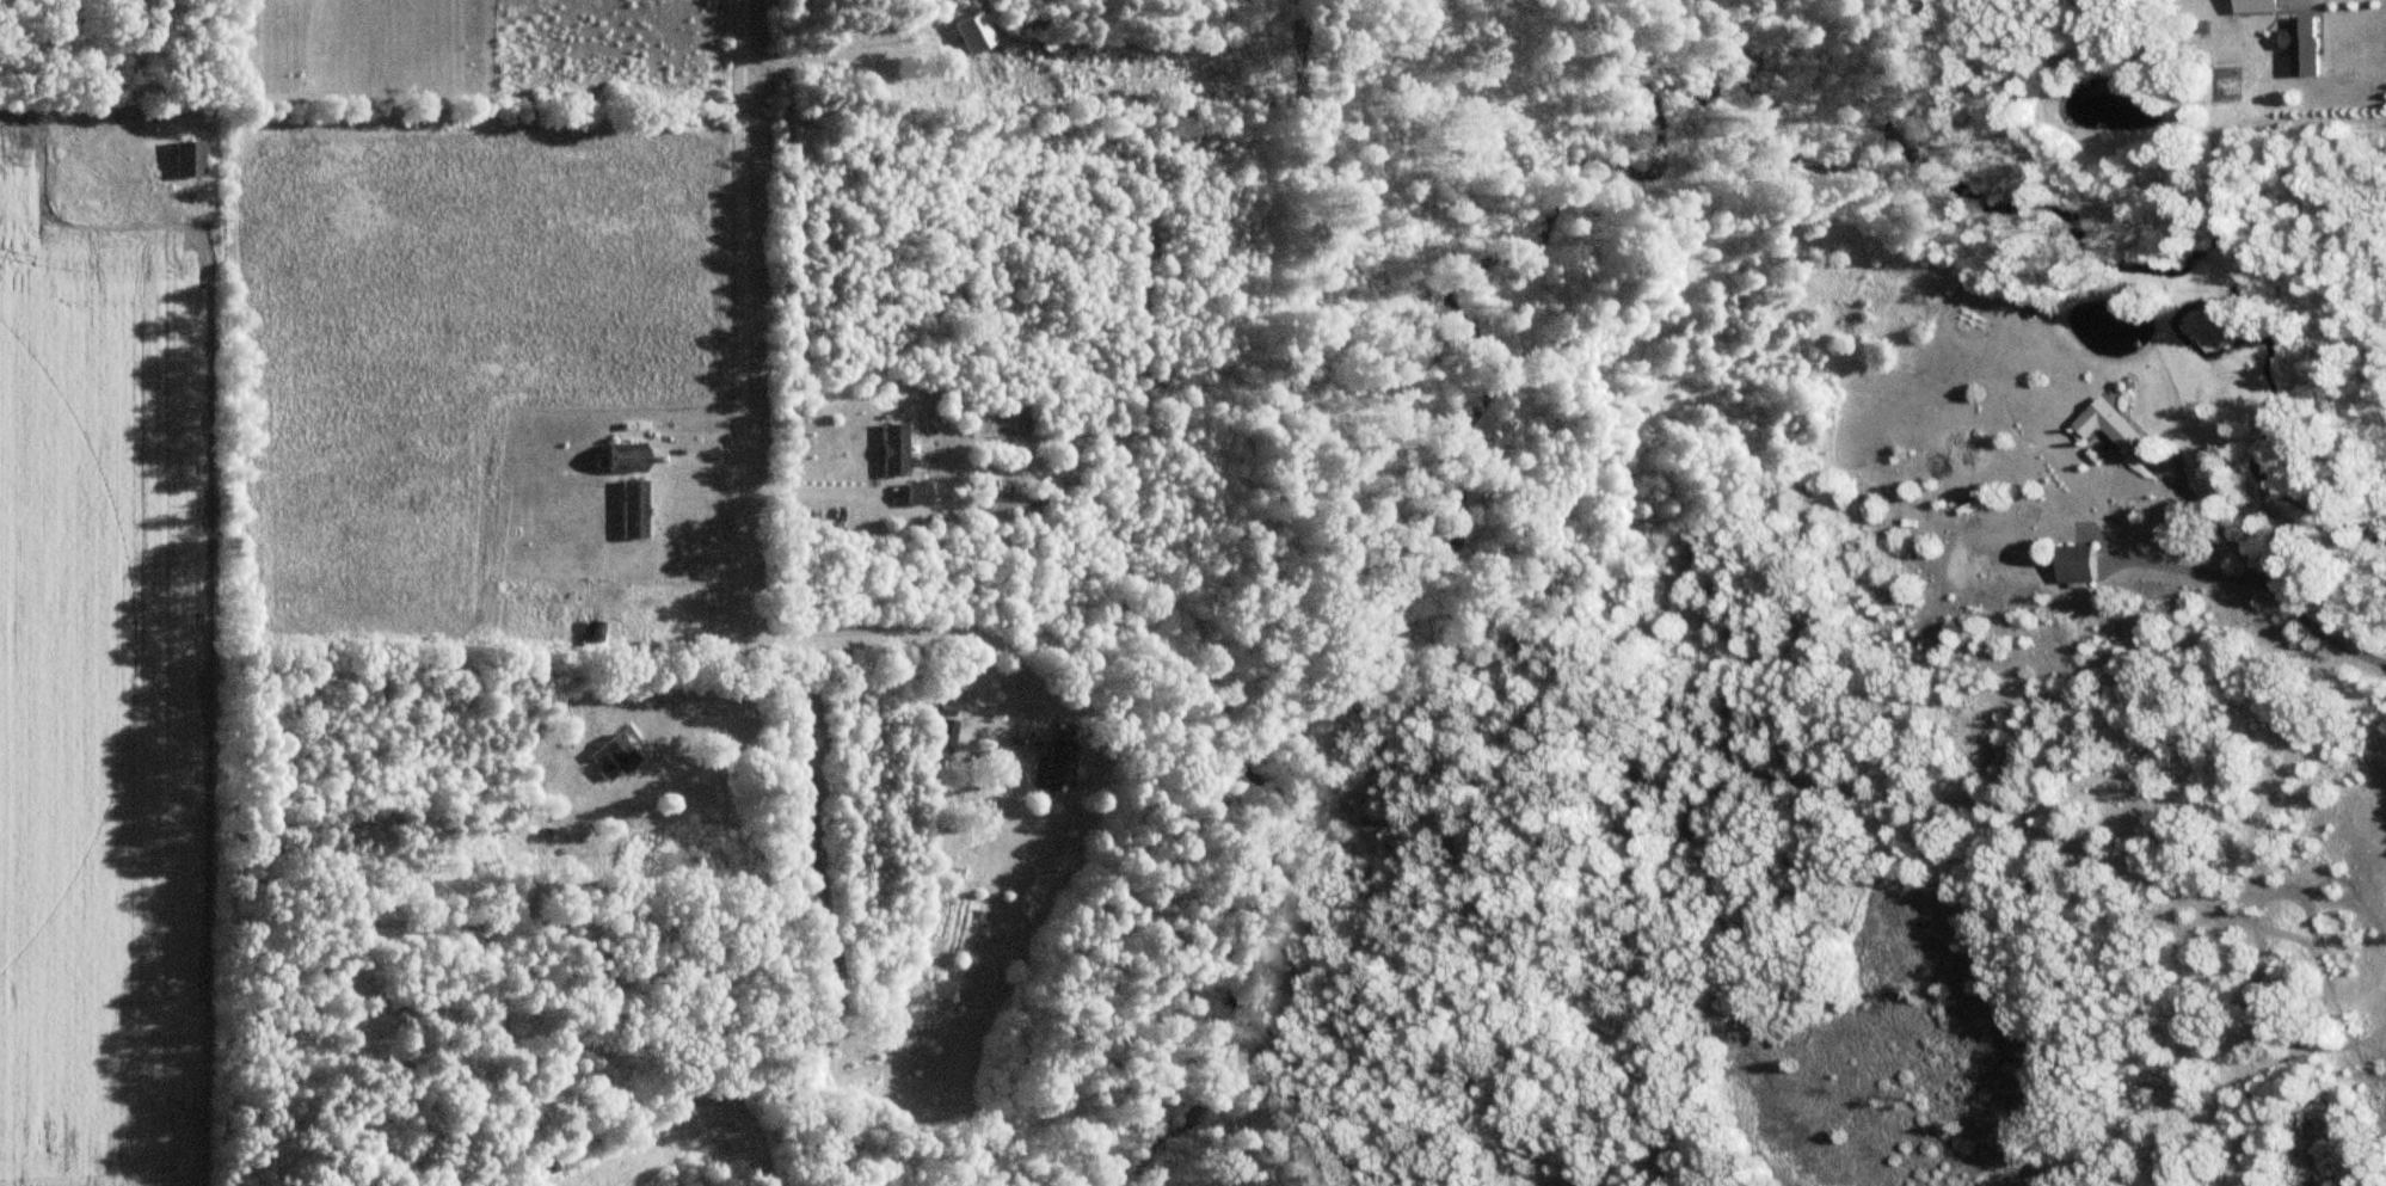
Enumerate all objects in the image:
building: (2265, 6)
building: (2307, 45)
road: (834, 61)
road: (236, 111)
building: (187, 160)
road: (737, 311)
building: (2117, 425)
building: (892, 451)
building: (626, 462)
road: (811, 487)
building: (916, 496)
building: (632, 510)
building: (2081, 564)
road: (2185, 572)
road: (2257, 573)
building: (588, 634)
road: (963, 635)
road: (736, 708)
building: (619, 752)
building: (1054, 770)

